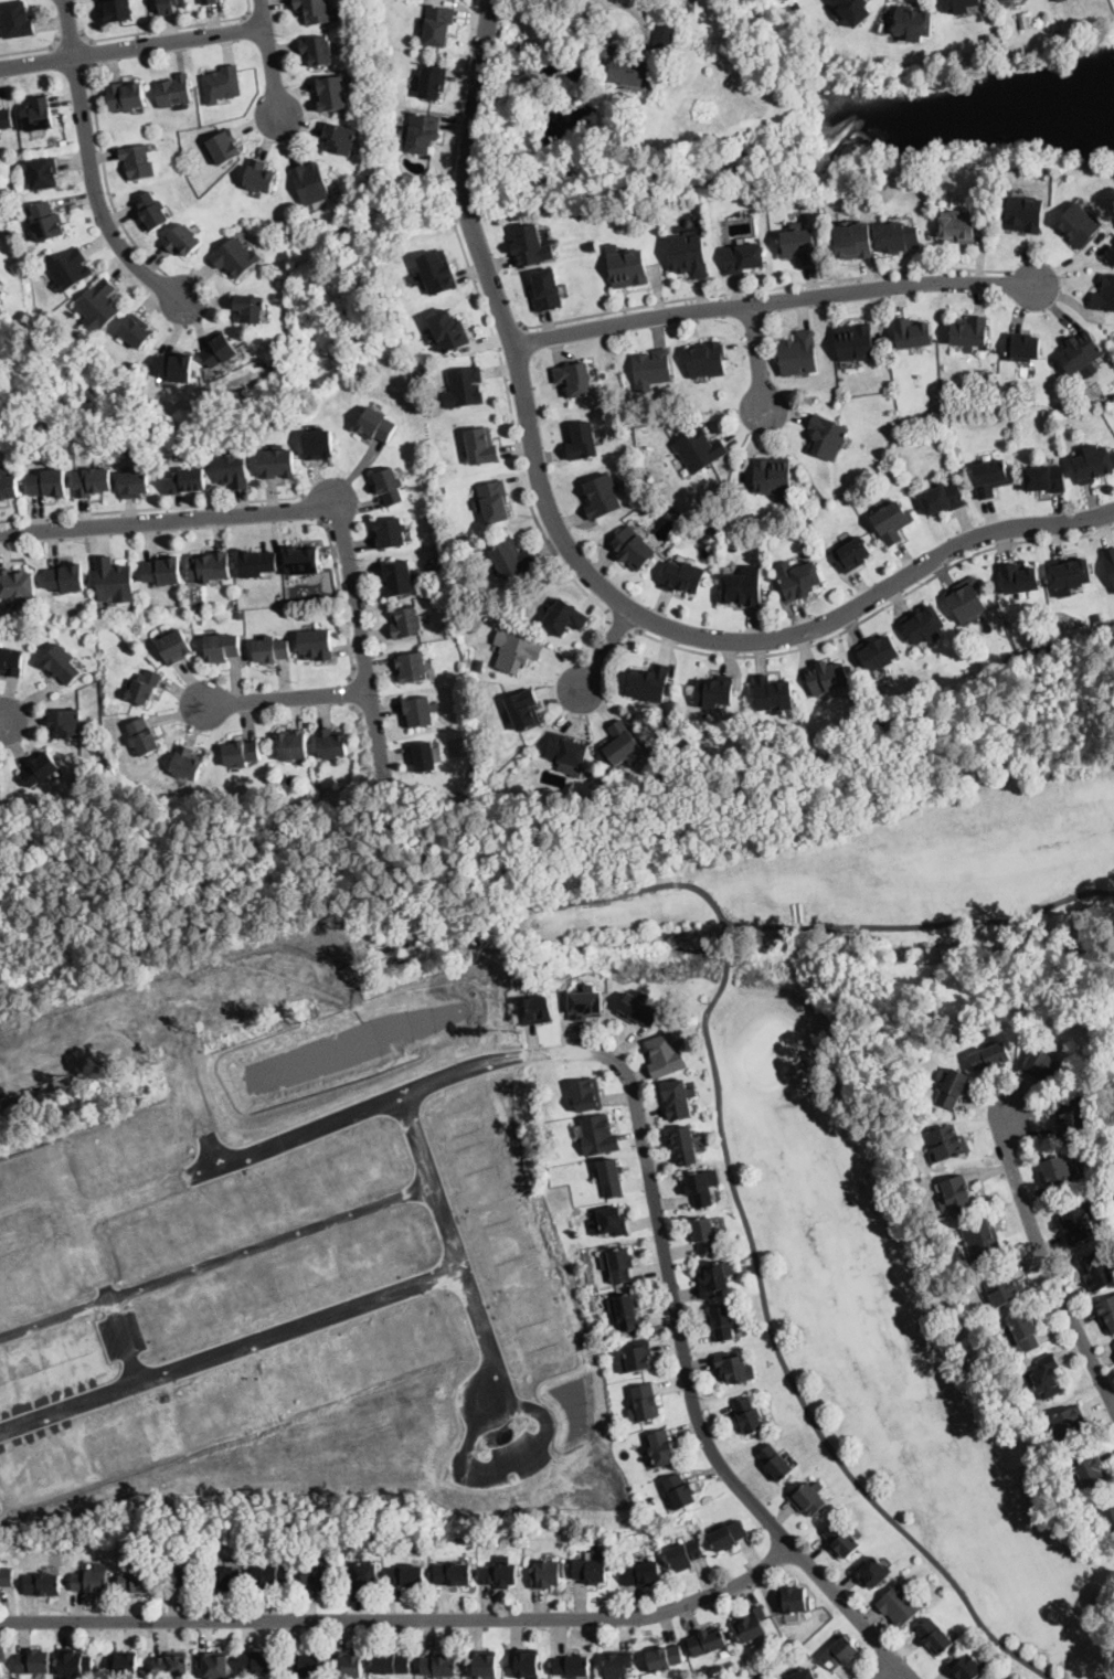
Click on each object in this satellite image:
building: (999, 0)
building: (1001, 0)
building: (1059, 0)
building: (210, 2)
building: (171, 6)
building: (958, 6)
building: (316, 10)
building: (853, 10)
building: (119, 11)
building: (1023, 19)
building: (17, 20)
building: (913, 23)
building: (439, 25)
road: (72, 29)
road: (169, 29)
road: (70, 40)
building: (665, 40)
road: (632, 43)
road: (132, 49)
building: (518, 50)
road: (32, 51)
building: (318, 51)
road: (94, 52)
road: (270, 60)
building: (629, 70)
building: (548, 71)
building: (433, 82)
building: (223, 84)
building: (176, 91)
building: (333, 93)
building: (127, 96)
building: (40, 114)
building: (6, 119)
building: (422, 132)
building: (339, 139)
building: (224, 147)
building: (139, 160)
building: (43, 173)
building: (261, 177)
road: (106, 178)
building: (311, 182)
road: (98, 196)
building: (152, 211)
building: (1023, 214)
building: (46, 221)
building: (956, 225)
building: (1079, 225)
building: (900, 237)
building: (183, 240)
building: (852, 241)
building: (797, 244)
building: (531, 247)
building: (687, 255)
building: (236, 256)
building: (742, 257)
building: (629, 268)
building: (71, 269)
building: (438, 272)
road: (763, 289)
building: (548, 290)
building: (1104, 295)
building: (0, 300)
road: (773, 302)
building: (99, 305)
building: (248, 308)
road: (490, 325)
road: (509, 330)
building: (137, 331)
building: (449, 331)
building: (969, 331)
building: (911, 333)
building: (855, 342)
building: (1021, 347)
building: (220, 350)
building: (1080, 352)
building: (797, 353)
road: (760, 358)
building: (707, 359)
building: (176, 368)
building: (651, 369)
building: (425, 374)
building: (576, 379)
building: (465, 387)
building: (376, 425)
building: (827, 437)
building: (583, 442)
building: (319, 445)
building: (484, 446)
building: (36, 449)
building: (699, 449)
building: (278, 463)
building: (1092, 464)
building: (234, 469)
building: (771, 476)
building: (990, 477)
building: (1044, 478)
building: (188, 481)
building: (93, 482)
building: (51, 483)
building: (135, 485)
building: (10, 487)
building: (391, 487)
building: (442, 487)
building: (603, 497)
building: (943, 498)
building: (494, 501)
road: (310, 508)
road: (151, 509)
building: (808, 520)
building: (891, 521)
road: (170, 523)
building: (390, 533)
building: (634, 549)
building: (852, 554)
building: (512, 557)
building: (1110, 560)
building: (303, 561)
building: (258, 563)
road: (582, 563)
building: (211, 566)
building: (163, 571)
building: (1071, 574)
building: (683, 576)
building: (66, 578)
building: (399, 578)
building: (798, 578)
building: (1019, 578)
building: (115, 580)
building: (18, 584)
building: (743, 587)
road: (341, 598)
building: (966, 601)
building: (444, 603)
building: (195, 607)
road: (873, 615)
building: (99, 616)
building: (240, 616)
building: (565, 617)
building: (1096, 617)
building: (407, 624)
building: (925, 626)
road: (620, 627)
building: (1035, 641)
building: (316, 645)
building: (174, 646)
road: (363, 646)
building: (223, 648)
building: (1037, 649)
building: (272, 650)
building: (517, 651)
road: (607, 652)
building: (878, 653)
building: (1010, 658)
building: (11, 661)
building: (63, 665)
building: (479, 665)
building: (413, 667)
building: (827, 677)
building: (650, 683)
building: (145, 688)
building: (714, 691)
road: (352, 694)
building: (773, 694)
road: (287, 698)
building: (524, 709)
building: (421, 712)
road: (2, 721)
building: (66, 723)
building: (668, 724)
road: (364, 735)
building: (145, 737)
building: (689, 737)
building: (332, 743)
building: (620, 744)
building: (293, 745)
building: (566, 750)
building: (675, 753)
building: (242, 754)
building: (424, 757)
building: (188, 764)
building: (42, 769)
building: (113, 771)
building: (473, 772)
building: (339, 783)
building: (311, 784)
road: (922, 923)
building: (585, 1005)
building: (534, 1010)
building: (639, 1010)
road: (107, 1030)
building: (665, 1055)
building: (989, 1058)
building: (1042, 1065)
road: (633, 1083)
road: (191, 1086)
building: (952, 1086)
building: (588, 1096)
building: (678, 1098)
building: (1071, 1116)
building: (600, 1136)
building: (946, 1144)
building: (685, 1146)
building: (1058, 1173)
building: (612, 1178)
park: (831, 1187)
building: (699, 1189)
building: (957, 1194)
building: (614, 1221)
building: (1078, 1222)
building: (704, 1235)
building: (983, 1240)
road: (455, 1244)
road: (752, 1252)
building: (619, 1264)
road: (1048, 1264)
building: (1099, 1272)
building: (712, 1278)
building: (1002, 1287)
building: (625, 1311)
building: (1106, 1314)
building: (722, 1322)
building: (1026, 1331)
road: (229, 1335)
building: (637, 1359)
building: (733, 1368)
building: (1046, 1377)
building: (645, 1404)
building: (747, 1415)
building: (1069, 1422)
building: (662, 1448)
road: (514, 1462)
building: (775, 1463)
building: (1090, 1468)
building: (679, 1491)
building: (808, 1498)
building: (1106, 1512)
building: (728, 1535)
building: (841, 1540)
building: (490, 1543)
building: (78, 1545)
building: (315, 1547)
building: (685, 1554)
building: (591, 1571)
building: (871, 1572)
building: (456, 1573)
building: (644, 1574)
building: (270, 1575)
building: (364, 1575)
building: (503, 1575)
building: (547, 1575)
building: (7, 1576)
building: (320, 1576)
building: (407, 1576)
building: (182, 1577)
building: (225, 1580)
building: (91, 1581)
building: (138, 1583)
building: (43, 1585)
building: (793, 1600)
building: (899, 1605)
road: (404, 1620)
building: (751, 1625)
building: (934, 1636)
building: (707, 1641)
building: (725, 1651)
building: (839, 1654)
building: (666, 1658)
building: (2, 1661)
building: (34, 1662)
building: (75, 1662)
building: (526, 1662)
building: (258, 1664)
building: (305, 1664)
building: (392, 1664)
building: (620, 1664)
building: (125, 1665)
building: (215, 1665)
building: (350, 1665)
building: (172, 1666)
building: (441, 1666)
building: (486, 1666)
building: (573, 1667)
building: (965, 1668)
road: (889, 1670)
building: (702, 1675)
building: (803, 1675)
building: (764, 1678)

